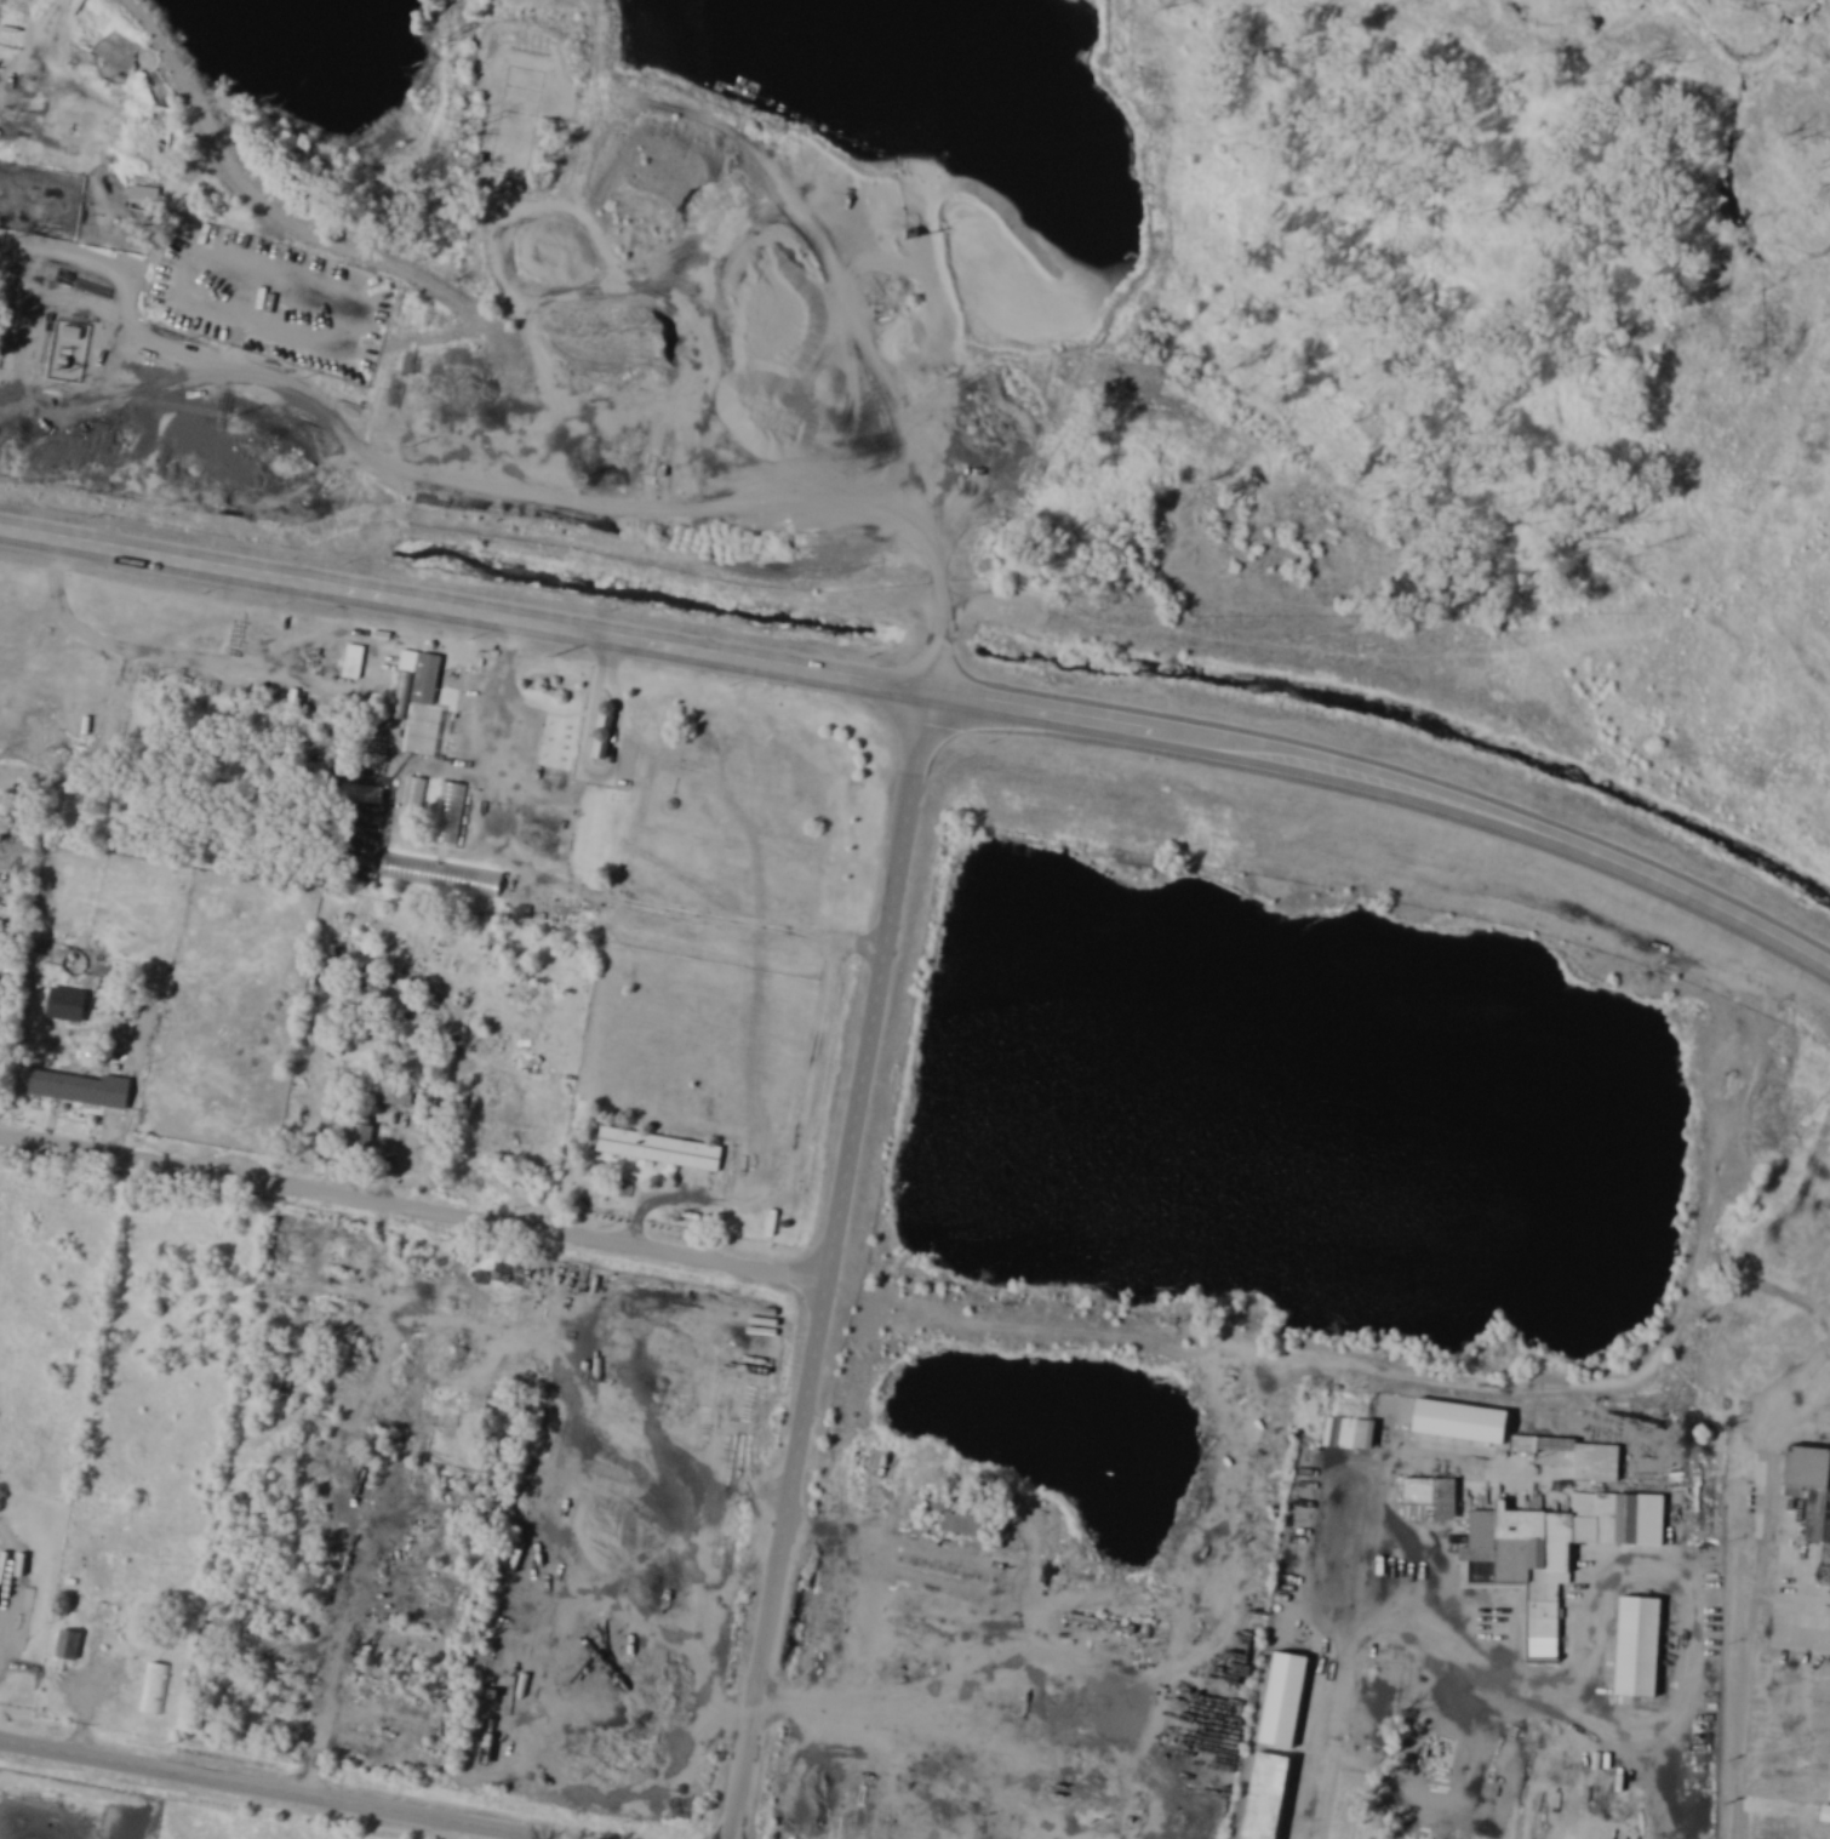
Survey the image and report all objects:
building: (148, 198)
road: (668, 314)
building: (355, 662)
road: (801, 670)
building: (417, 683)
building: (452, 723)
building: (425, 725)
building: (364, 795)
building: (450, 813)
road: (1714, 903)
building: (1, 1044)
building: (70, 1085)
building: (395, 1093)
building: (482, 1097)
building: (364, 1137)
building: (476, 1147)
building: (662, 1149)
building: (486, 1172)
road: (640, 1249)
road: (833, 1266)
road: (1648, 1365)
building: (743, 1376)
building: (1462, 1422)
building: (721, 1432)
building: (1353, 1435)
building: (1600, 1461)
building: (1812, 1490)
building: (1435, 1496)
building: (968, 1517)
building: (1636, 1517)
road: (859, 1525)
road: (1033, 1555)
building: (0, 1572)
road: (1755, 1592)
road: (1262, 1604)
building: (70, 1645)
building: (1639, 1646)
road: (1328, 1651)
building: (155, 1689)
building: (1285, 1700)
road: (279, 1791)
building: (1825, 1814)

